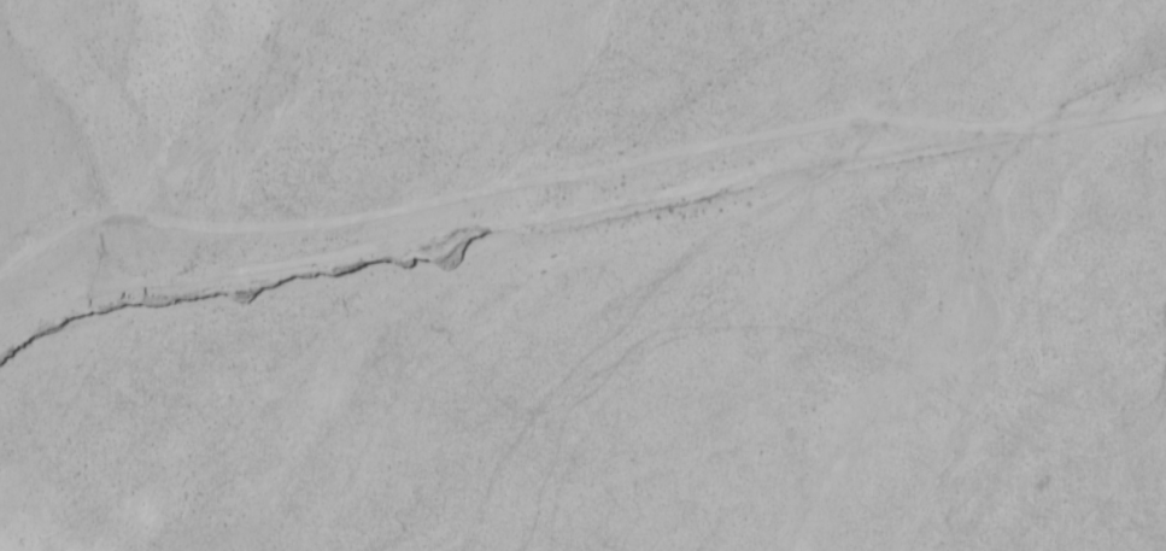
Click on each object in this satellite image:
road: (559, 240)

